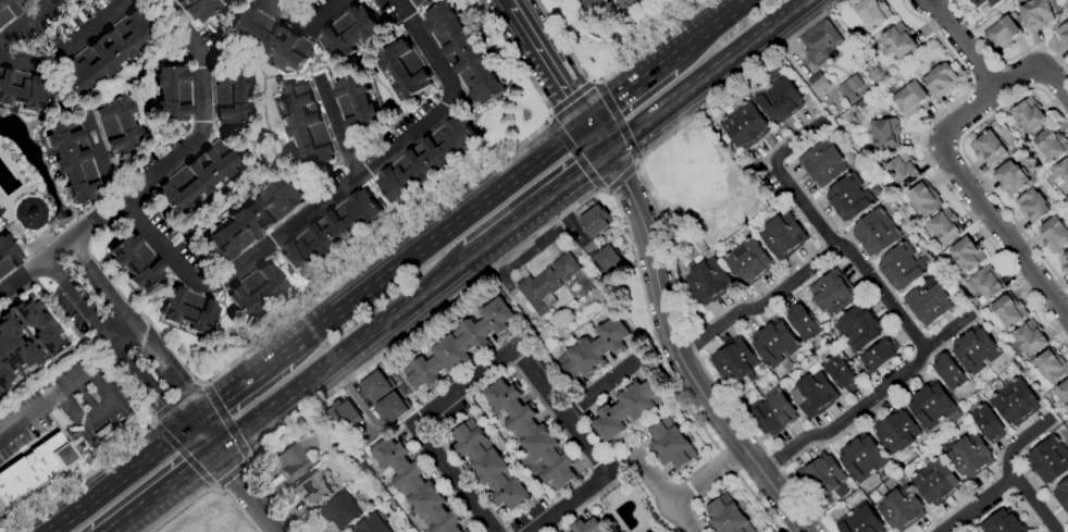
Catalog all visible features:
building: (29, 0)
building: (34, 0)
building: (653, 0)
building: (417, 2)
road: (508, 3)
building: (592, 4)
building: (983, 4)
building: (630, 5)
building: (198, 8)
building: (1015, 9)
building: (8, 10)
building: (872, 13)
building: (1036, 13)
road: (25, 18)
building: (999, 30)
road: (307, 32)
road: (710, 32)
building: (350, 33)
building: (1063, 34)
building: (269, 38)
building: (898, 40)
building: (820, 41)
road: (964, 42)
road: (74, 49)
building: (108, 51)
building: (464, 53)
road: (1001, 61)
road: (548, 65)
building: (405, 70)
road: (983, 72)
road: (609, 73)
road: (701, 75)
building: (941, 79)
road: (592, 82)
building: (818, 83)
building: (850, 87)
building: (22, 90)
building: (172, 94)
road: (629, 94)
building: (779, 97)
building: (231, 98)
building: (910, 99)
road: (980, 99)
road: (569, 101)
building: (357, 103)
building: (861, 103)
building: (892, 108)
building: (1029, 114)
road: (547, 119)
road: (616, 121)
building: (117, 124)
building: (306, 124)
building: (745, 125)
road: (341, 129)
building: (884, 134)
building: (1051, 145)
building: (989, 148)
road: (107, 156)
road: (574, 156)
building: (848, 156)
building: (427, 160)
building: (73, 161)
road: (635, 161)
road: (968, 161)
road: (955, 162)
building: (692, 164)
building: (822, 164)
road: (160, 170)
building: (1063, 170)
building: (903, 171)
road: (933, 171)
road: (619, 176)
building: (197, 177)
building: (1010, 178)
building: (665, 187)
building: (696, 187)
road: (601, 193)
road: (335, 197)
building: (849, 199)
building: (923, 199)
road: (535, 205)
building: (1032, 205)
road: (431, 211)
fountain: (62, 213)
building: (30, 214)
building: (253, 219)
building: (595, 221)
building: (944, 226)
road: (822, 228)
road: (542, 231)
building: (331, 233)
building: (875, 233)
building: (1054, 234)
building: (783, 236)
road: (661, 237)
road: (434, 239)
building: (8, 255)
building: (967, 255)
building: (606, 260)
building: (136, 262)
building: (748, 262)
building: (1064, 262)
building: (902, 267)
building: (708, 281)
building: (594, 283)
building: (988, 283)
building: (547, 284)
building: (257, 290)
building: (832, 293)
road: (758, 302)
building: (928, 302)
building: (187, 310)
building: (1008, 311)
building: (804, 323)
building: (38, 324)
building: (858, 327)
building: (1028, 338)
road: (673, 341)
building: (774, 342)
road: (147, 343)
building: (459, 345)
building: (594, 349)
building: (974, 349)
road: (341, 352)
building: (14, 356)
building: (879, 356)
road: (127, 357)
building: (734, 361)
building: (1051, 367)
building: (947, 371)
building: (841, 373)
road: (198, 380)
road: (475, 381)
road: (69, 382)
road: (202, 383)
road: (244, 385)
building: (376, 387)
road: (598, 389)
building: (814, 393)
building: (1063, 393)
road: (867, 396)
road: (176, 400)
building: (1015, 403)
building: (932, 406)
parking lot: (71, 407)
building: (392, 409)
building: (626, 409)
building: (773, 412)
road: (98, 413)
building: (344, 416)
road: (151, 417)
road: (226, 420)
road: (154, 421)
building: (988, 423)
building: (896, 431)
building: (531, 433)
building: (670, 444)
road: (183, 454)
building: (363, 454)
building: (970, 456)
road: (249, 458)
building: (862, 458)
building: (1048, 459)
building: (291, 462)
building: (362, 467)
building: (489, 467)
building: (34, 469)
road: (232, 472)
road: (127, 474)
road: (705, 474)
building: (822, 477)
road: (80, 478)
building: (935, 482)
road: (1005, 483)
road: (213, 486)
building: (415, 487)
road: (162, 491)
road: (247, 491)
building: (311, 491)
road: (592, 495)
road: (663, 495)
building: (1061, 495)
road: (184, 504)
road: (1032, 506)
building: (901, 509)
building: (343, 511)
building: (727, 517)
building: (859, 521)
building: (1004, 523)
building: (373, 524)
building: (587, 527)
road: (110, 531)
building: (465, 531)
building: (646, 531)

